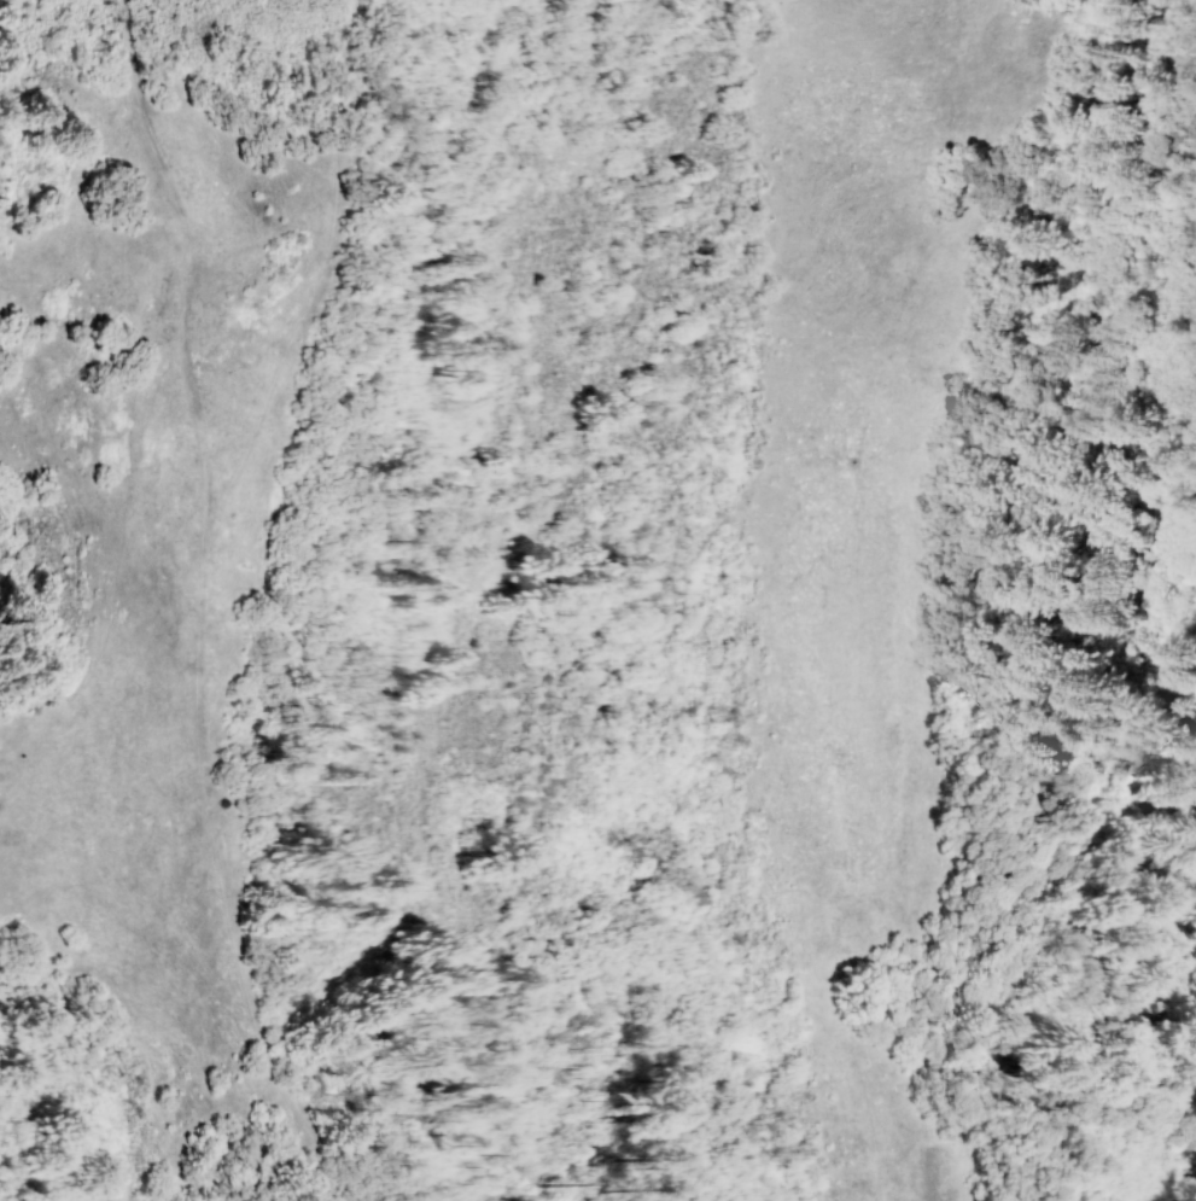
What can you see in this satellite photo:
road: (140, 132)
road: (256, 240)
road: (309, 280)
road: (774, 457)
road: (197, 741)
water tower: (222, 803)

